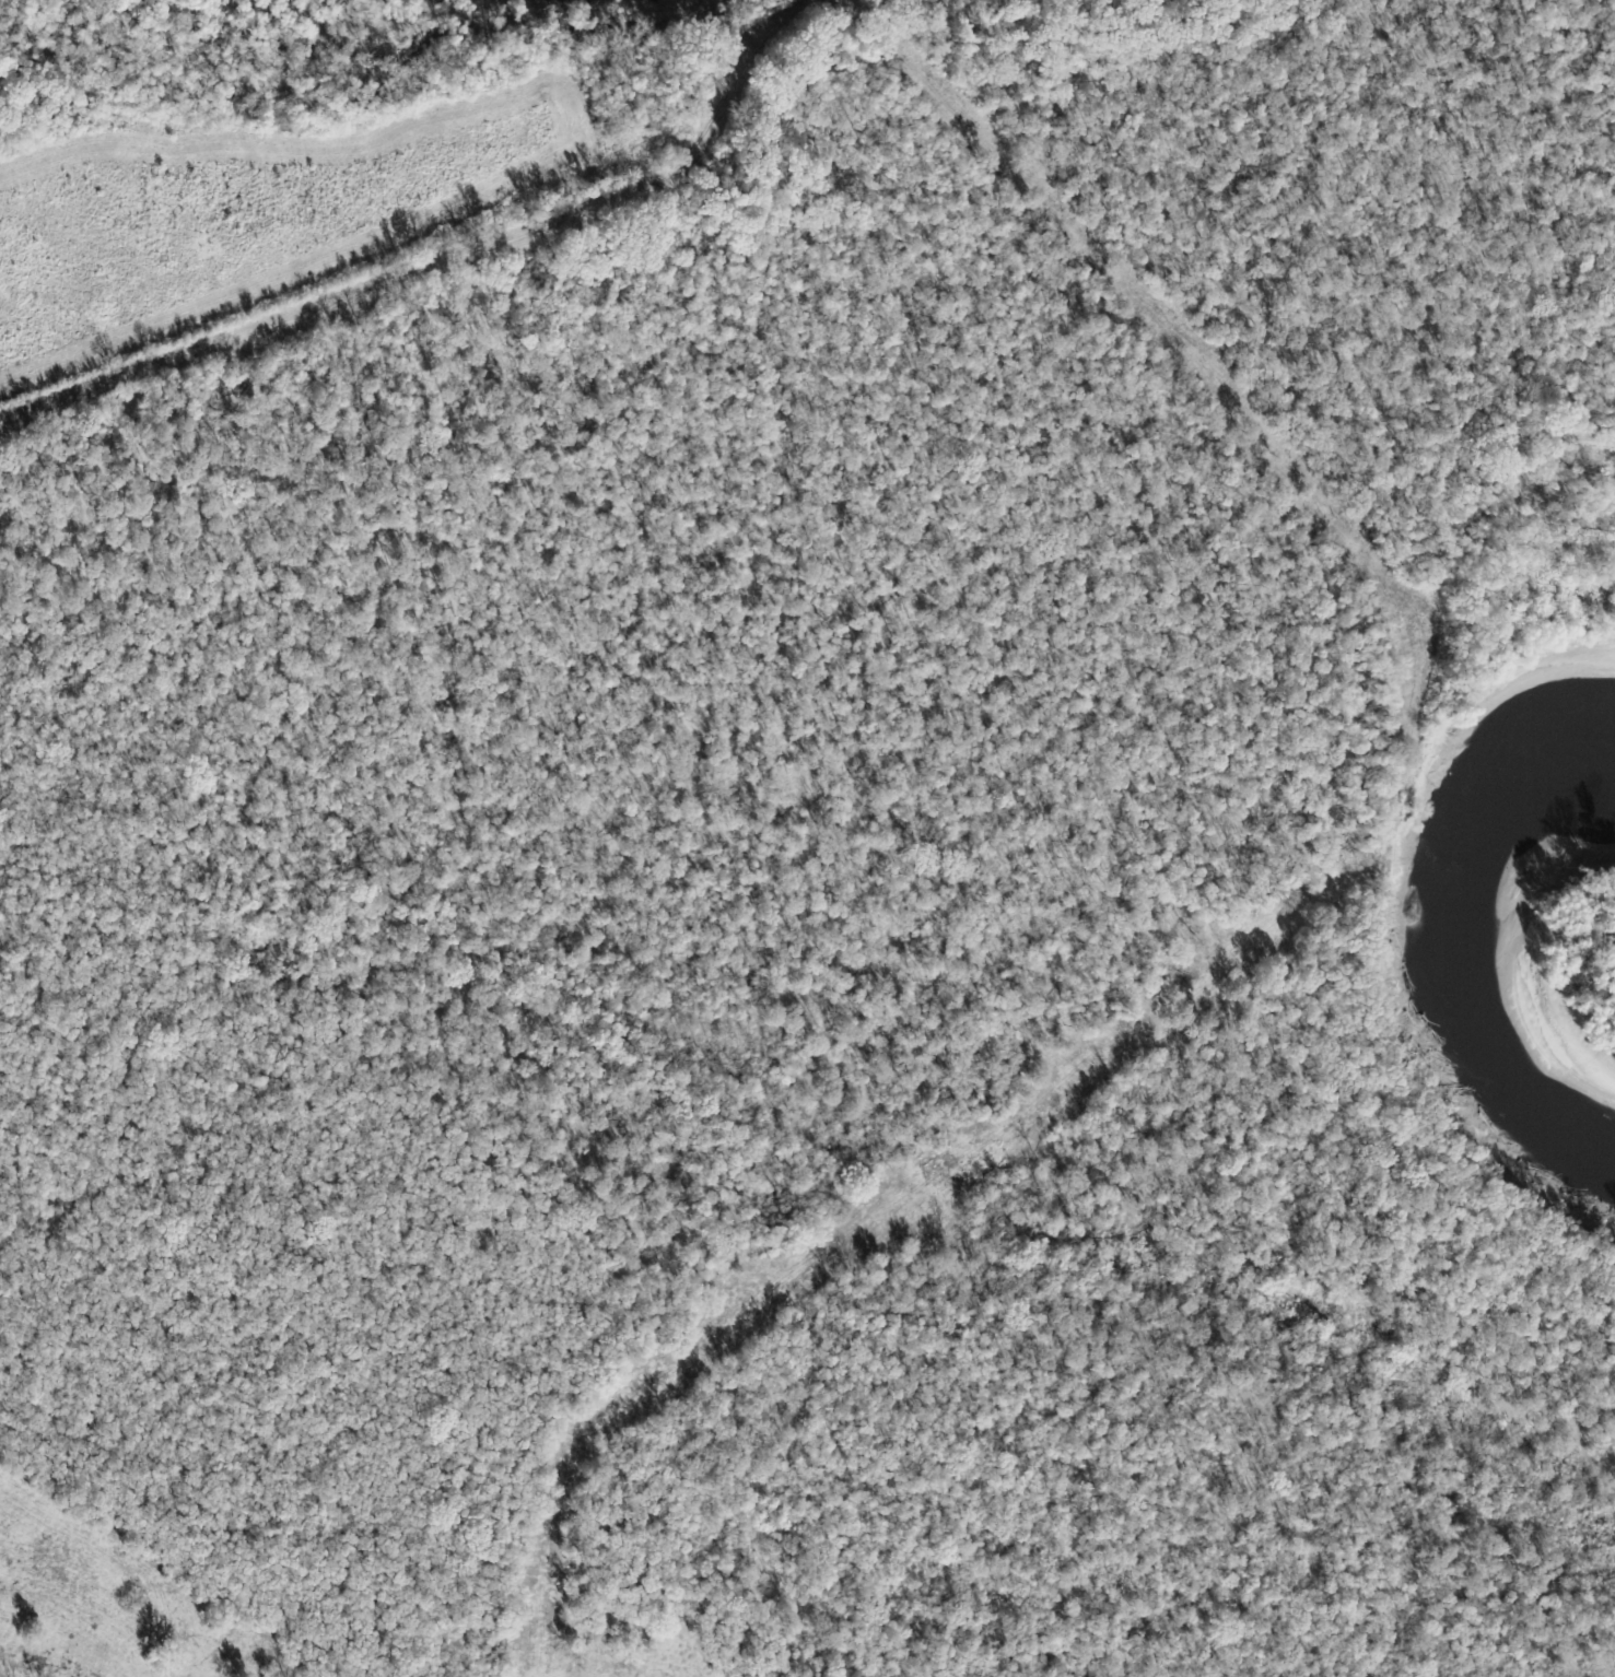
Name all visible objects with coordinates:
river: (1494, 905)

